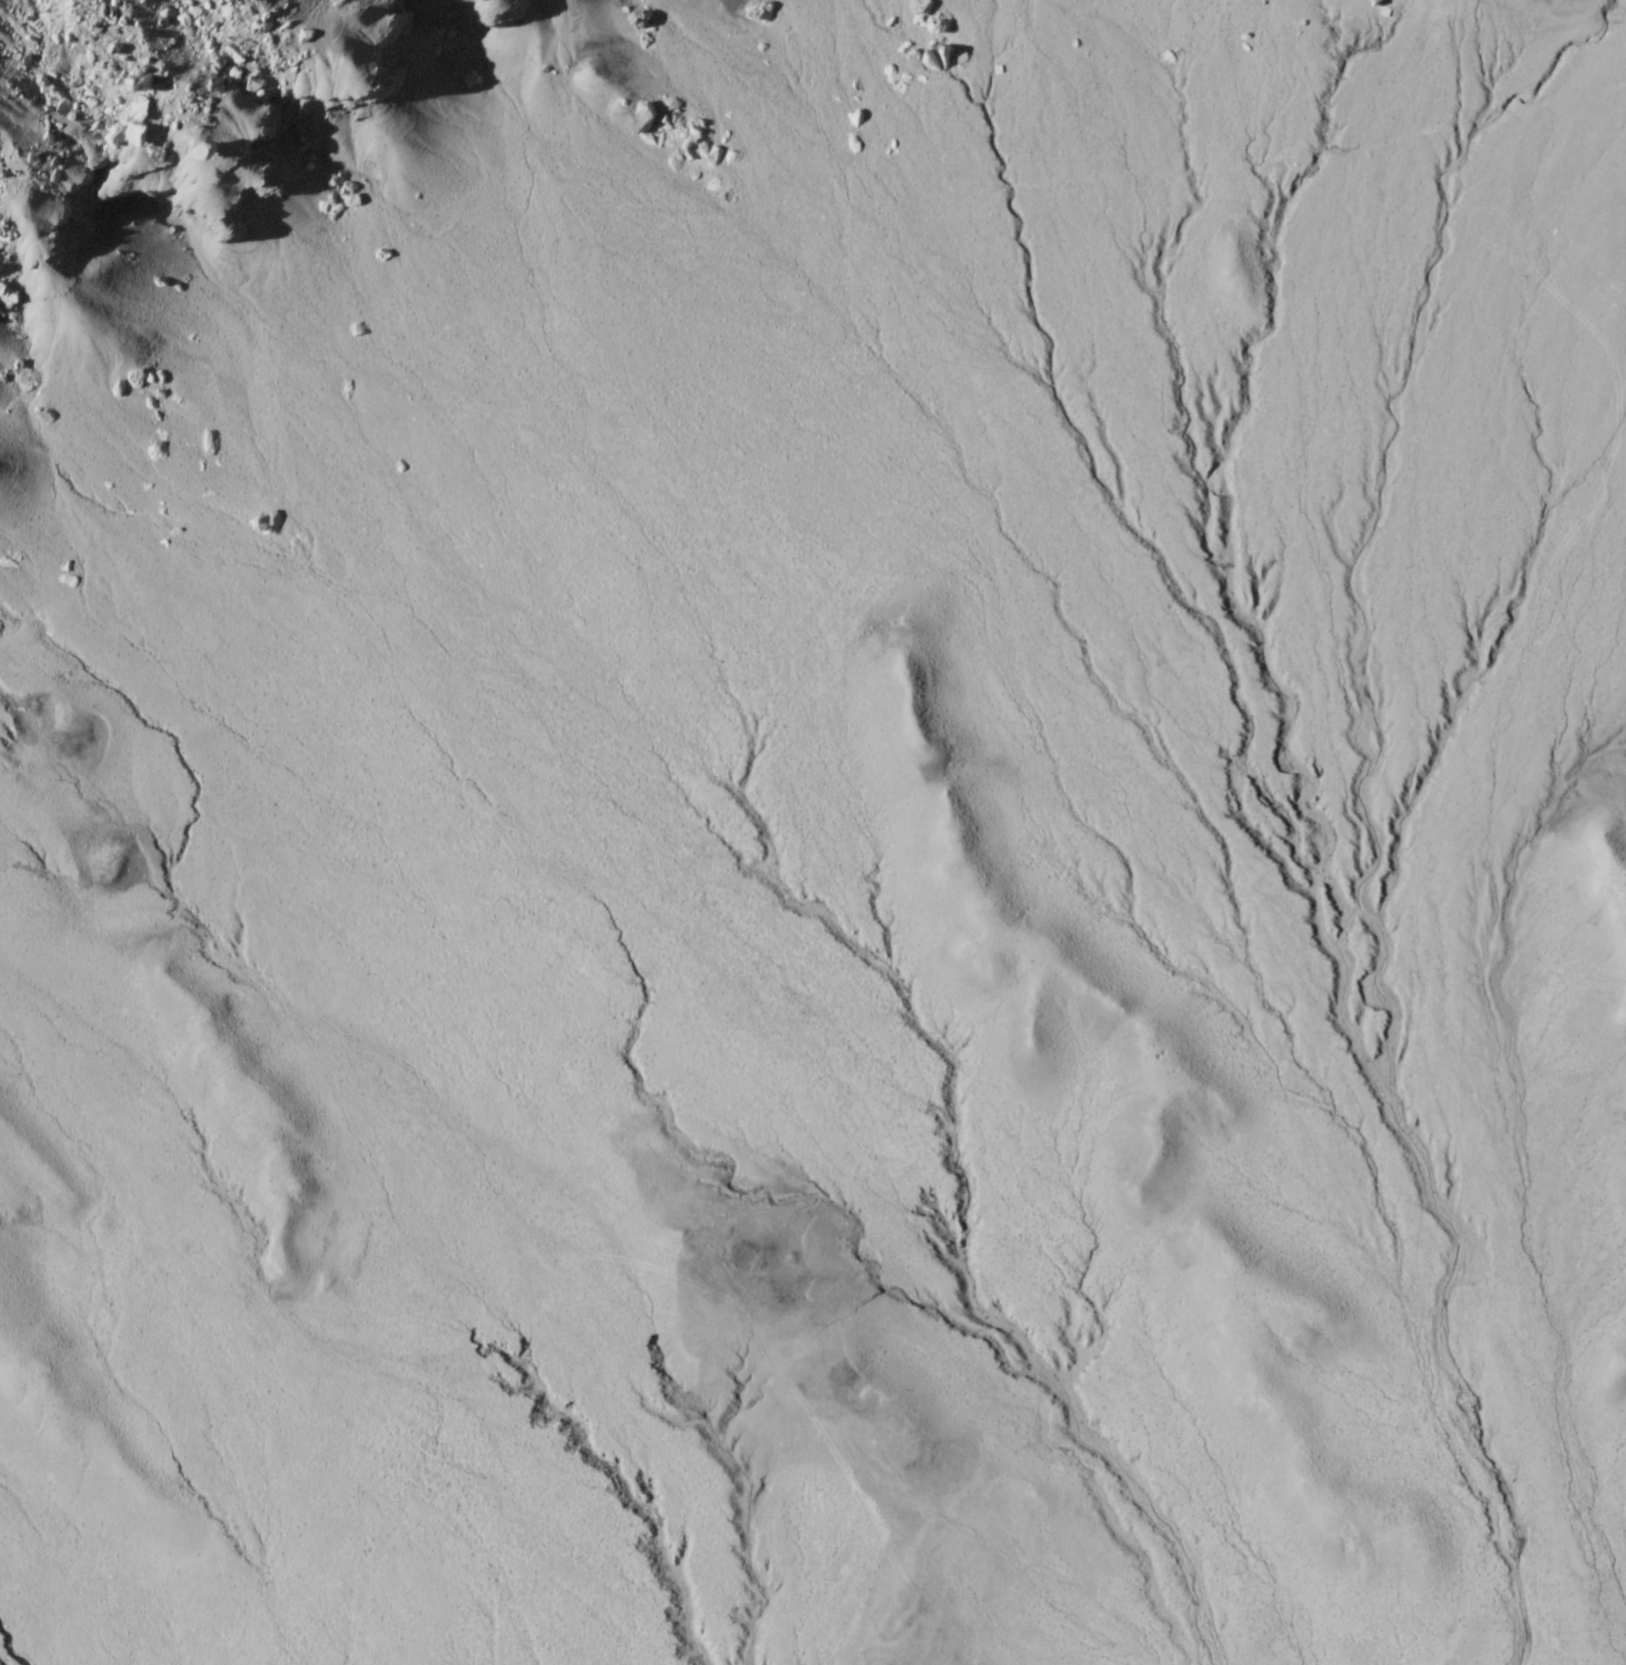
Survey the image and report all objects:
road: (1524, 1607)

